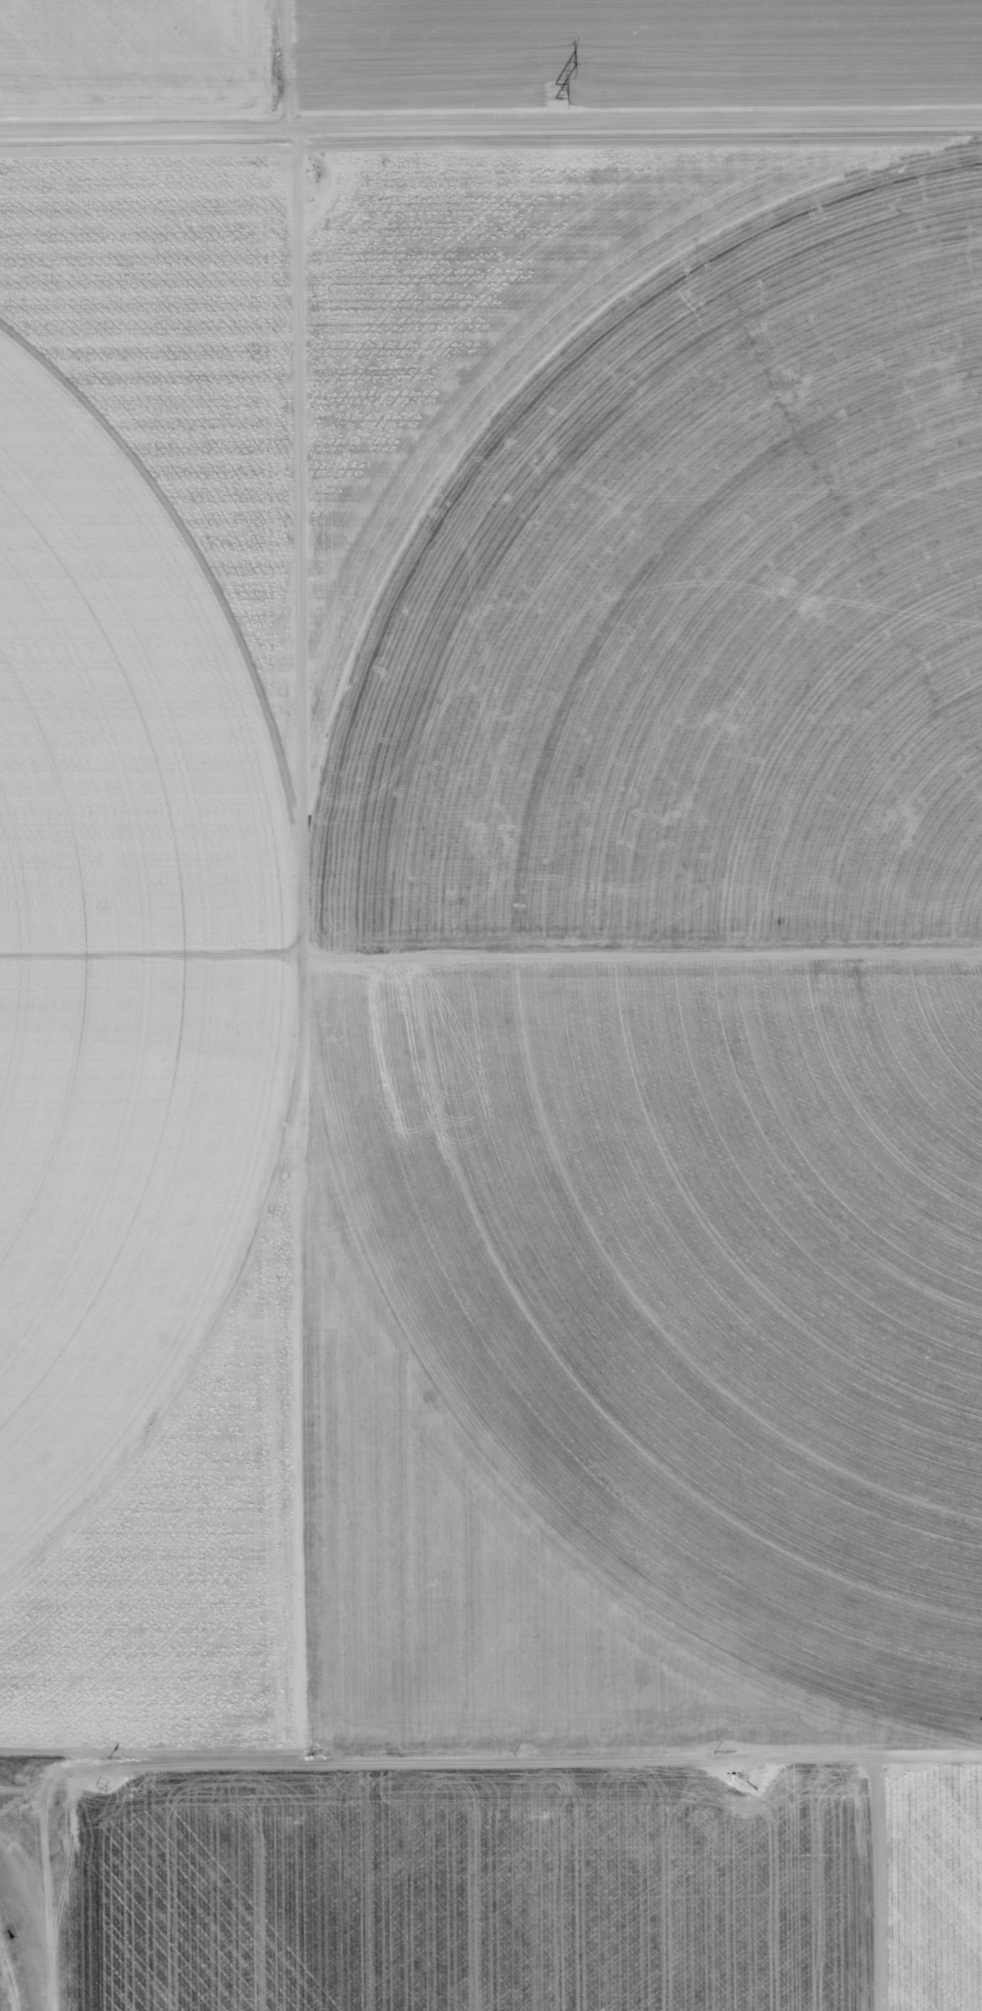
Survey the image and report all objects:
road: (288, 64)
power tower: (551, 89)
road: (491, 126)

